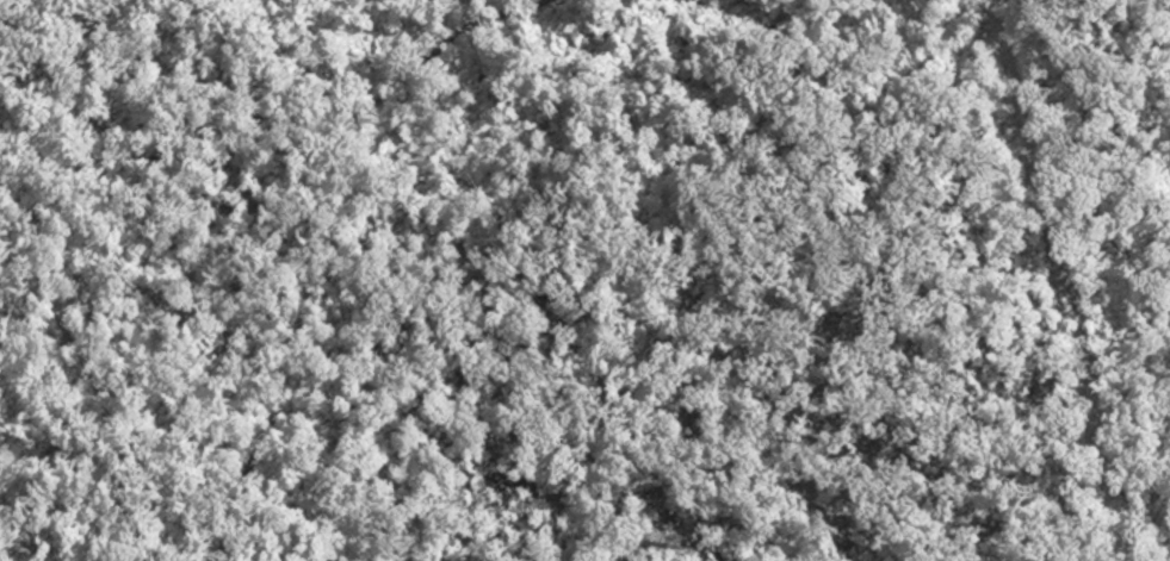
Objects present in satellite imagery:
road: (314, 226)

